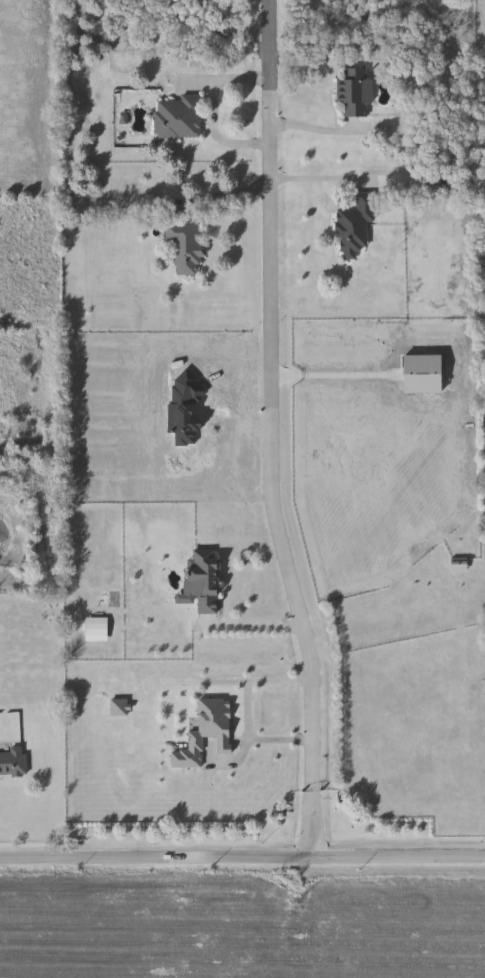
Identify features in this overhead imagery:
building: (356, 90)
road: (211, 108)
building: (180, 118)
road: (317, 177)
building: (356, 224)
building: (186, 246)
road: (328, 374)
road: (272, 430)
building: (459, 563)
building: (205, 579)
road: (21, 586)
road: (254, 619)
road: (244, 709)
building: (206, 732)
building: (13, 762)
road: (242, 857)

